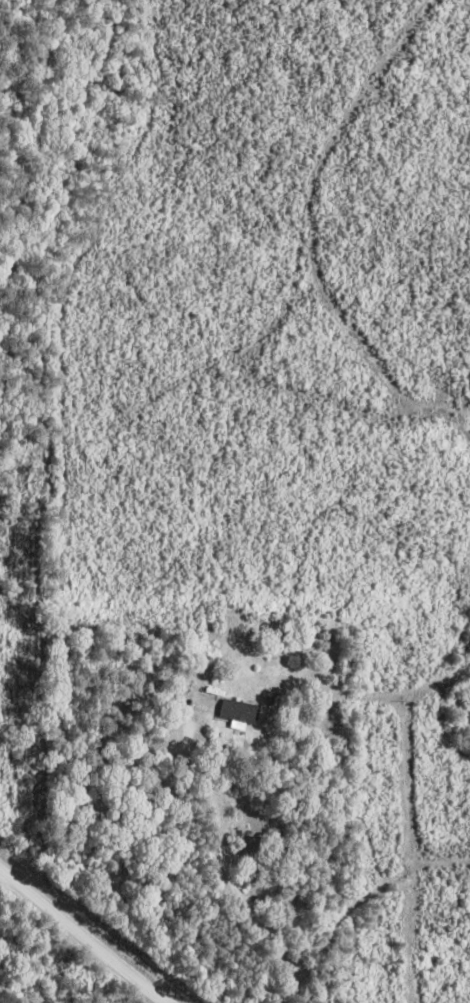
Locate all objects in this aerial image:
road: (312, 230)
road: (468, 537)
building: (225, 707)
road: (229, 848)
road: (364, 900)
road: (84, 935)

